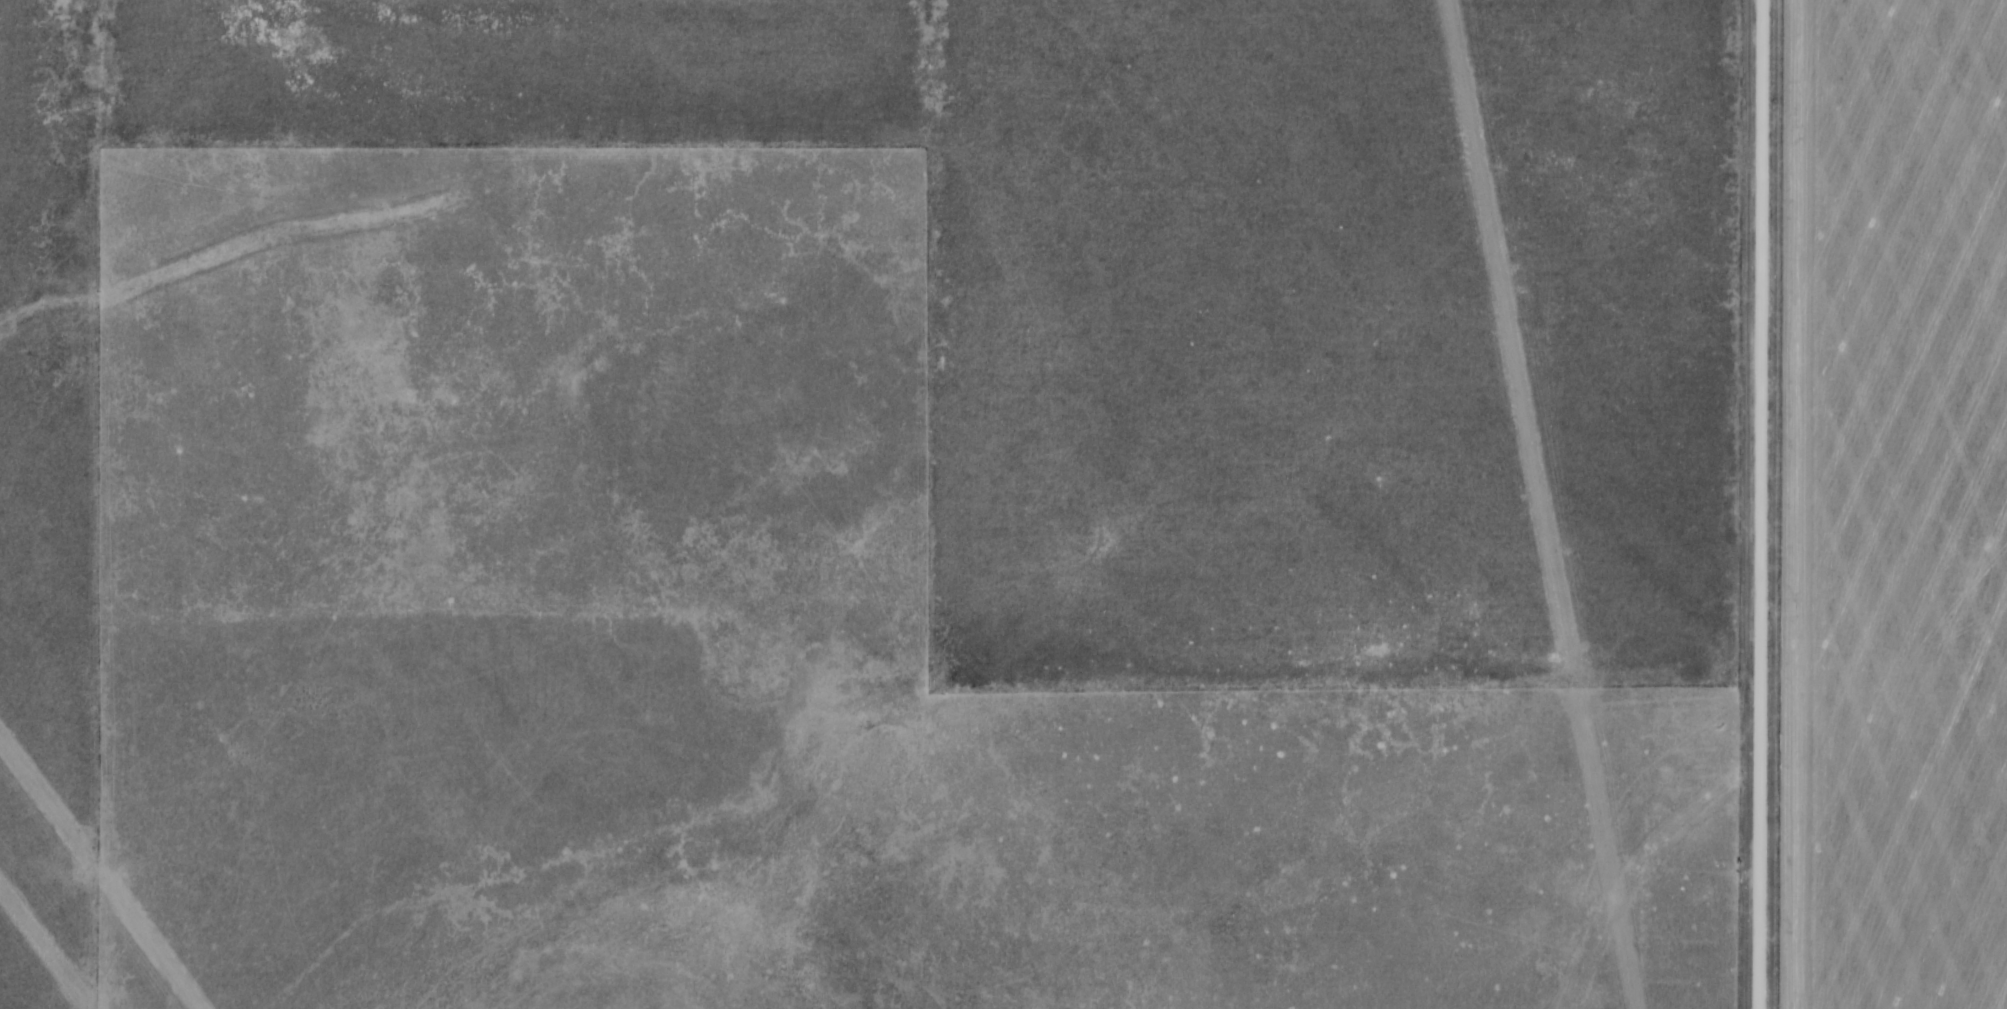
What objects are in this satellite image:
road: (1760, 504)

